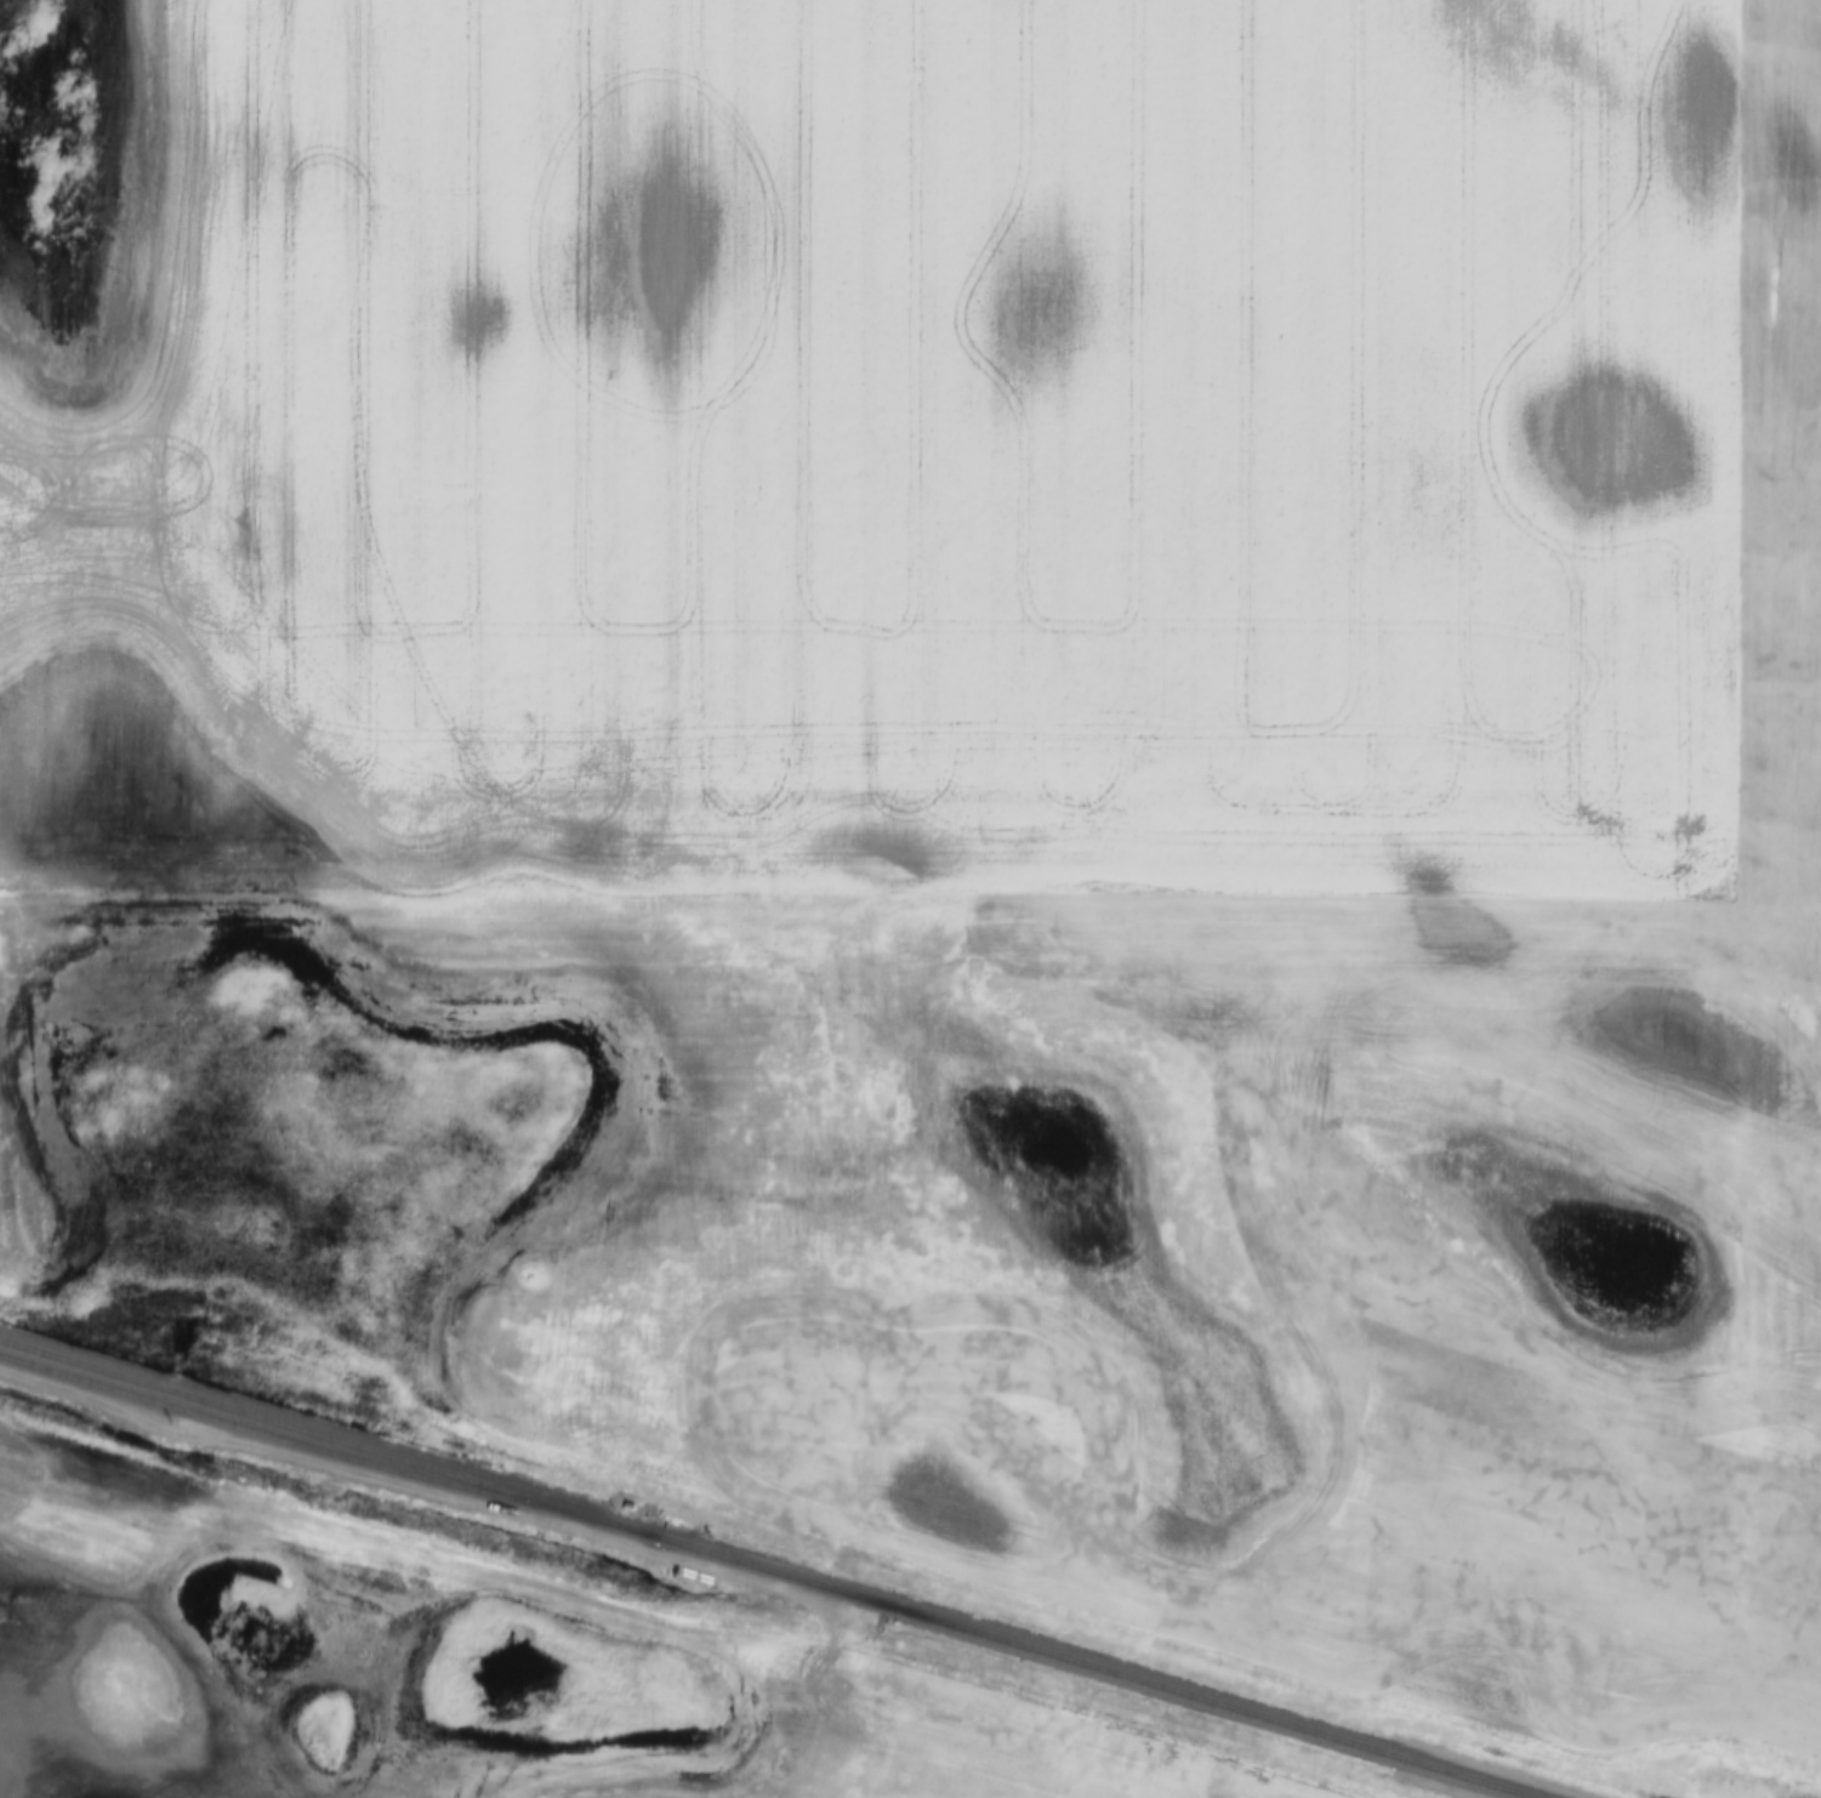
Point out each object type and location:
railway: (324, 1452)
railway: (763, 1570)

